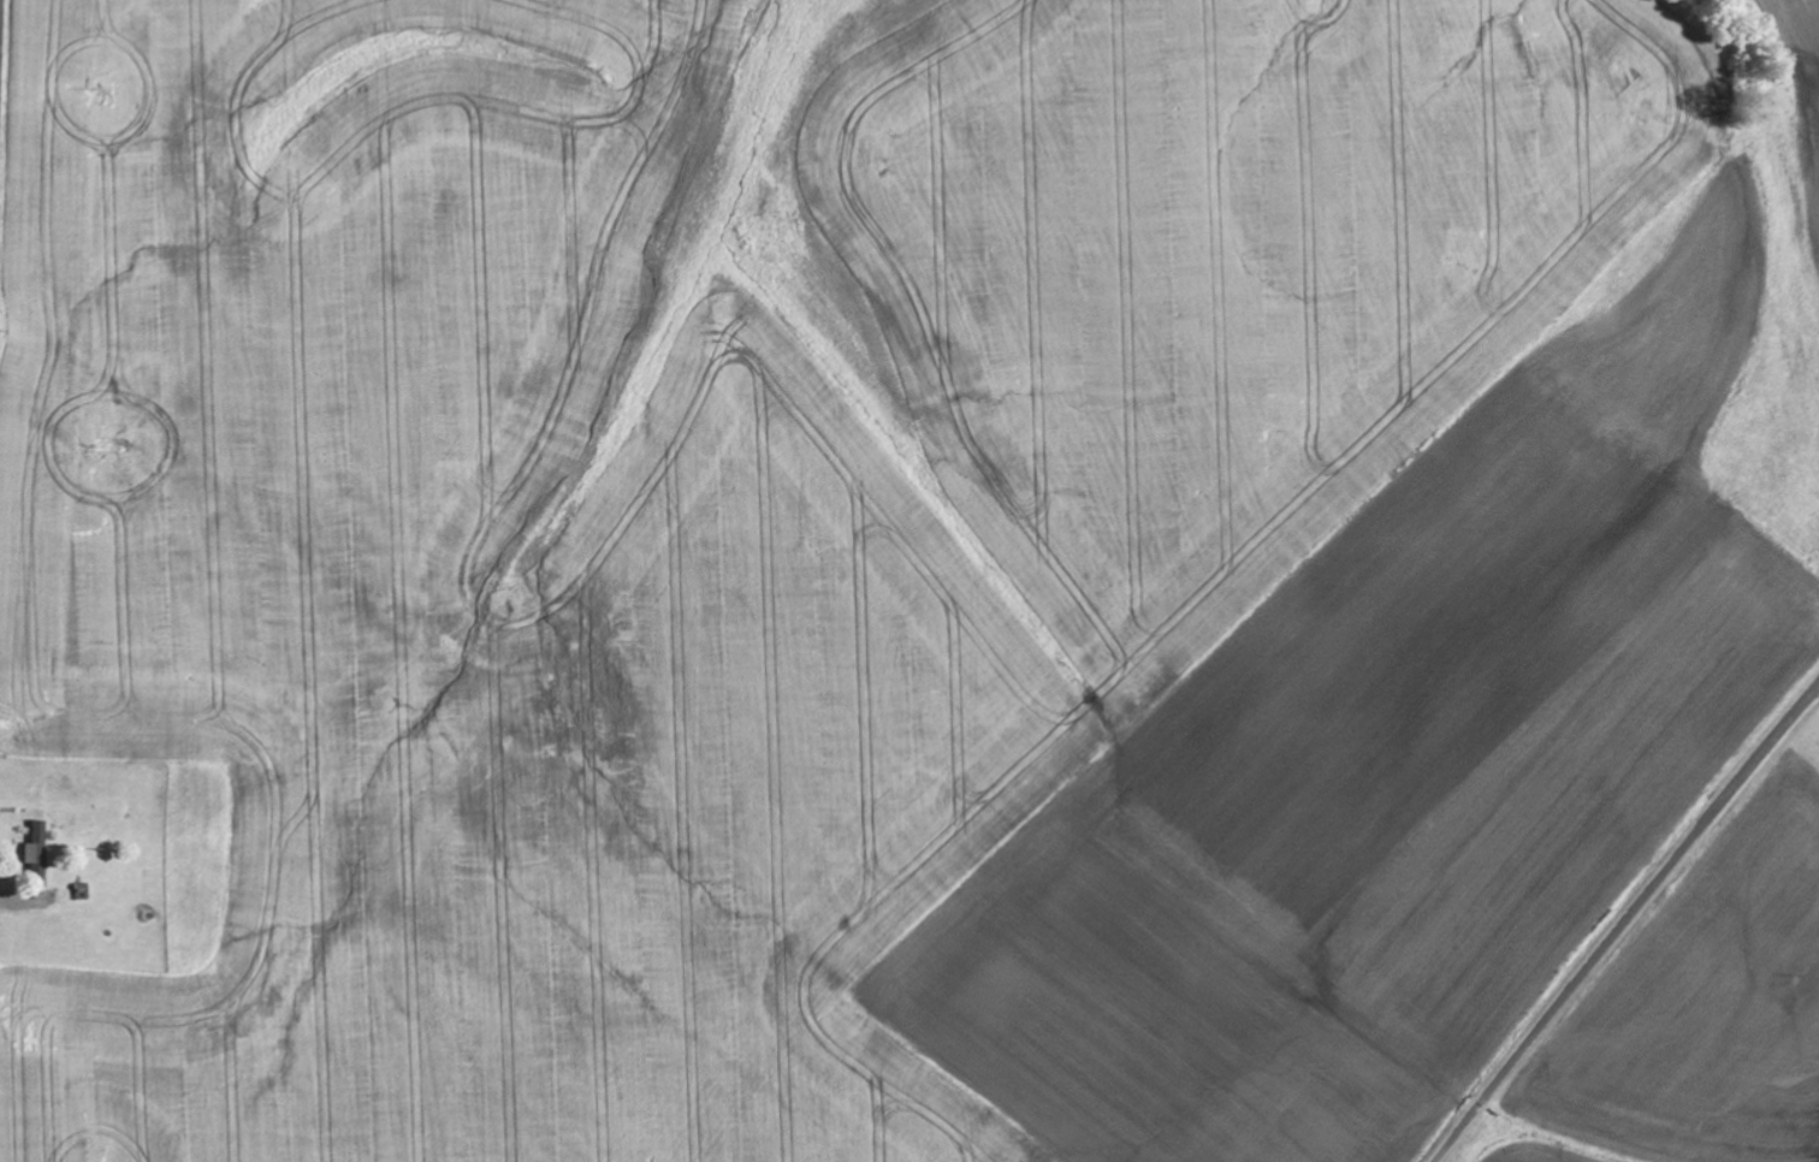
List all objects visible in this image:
building: (34, 852)
road: (1624, 921)

